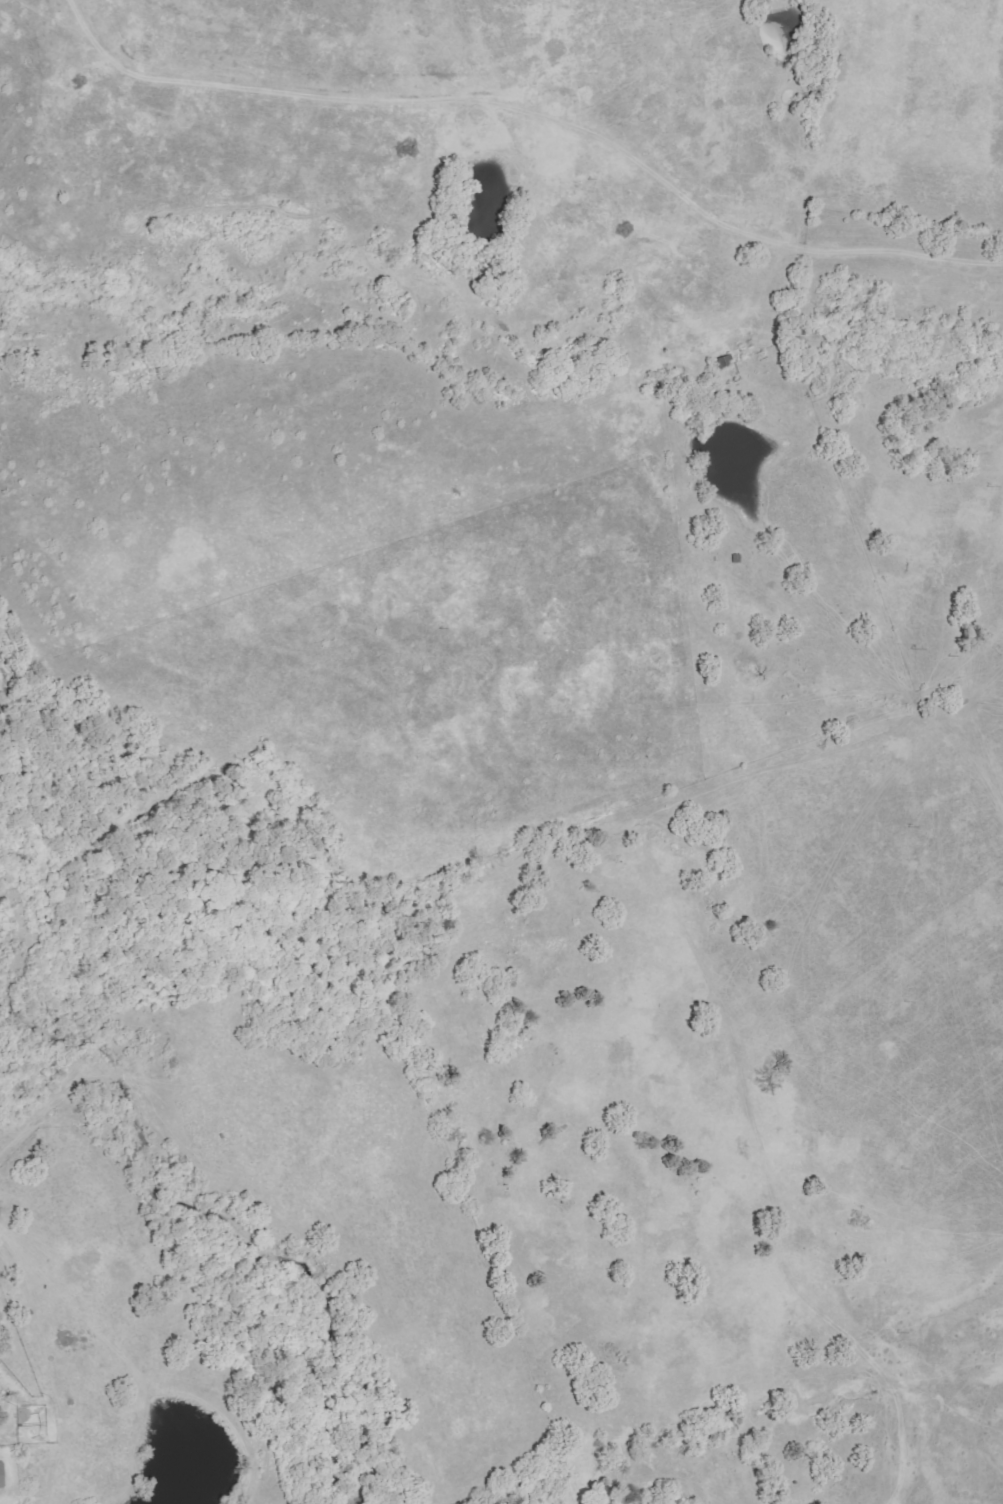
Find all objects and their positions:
building: (1, 1476)

